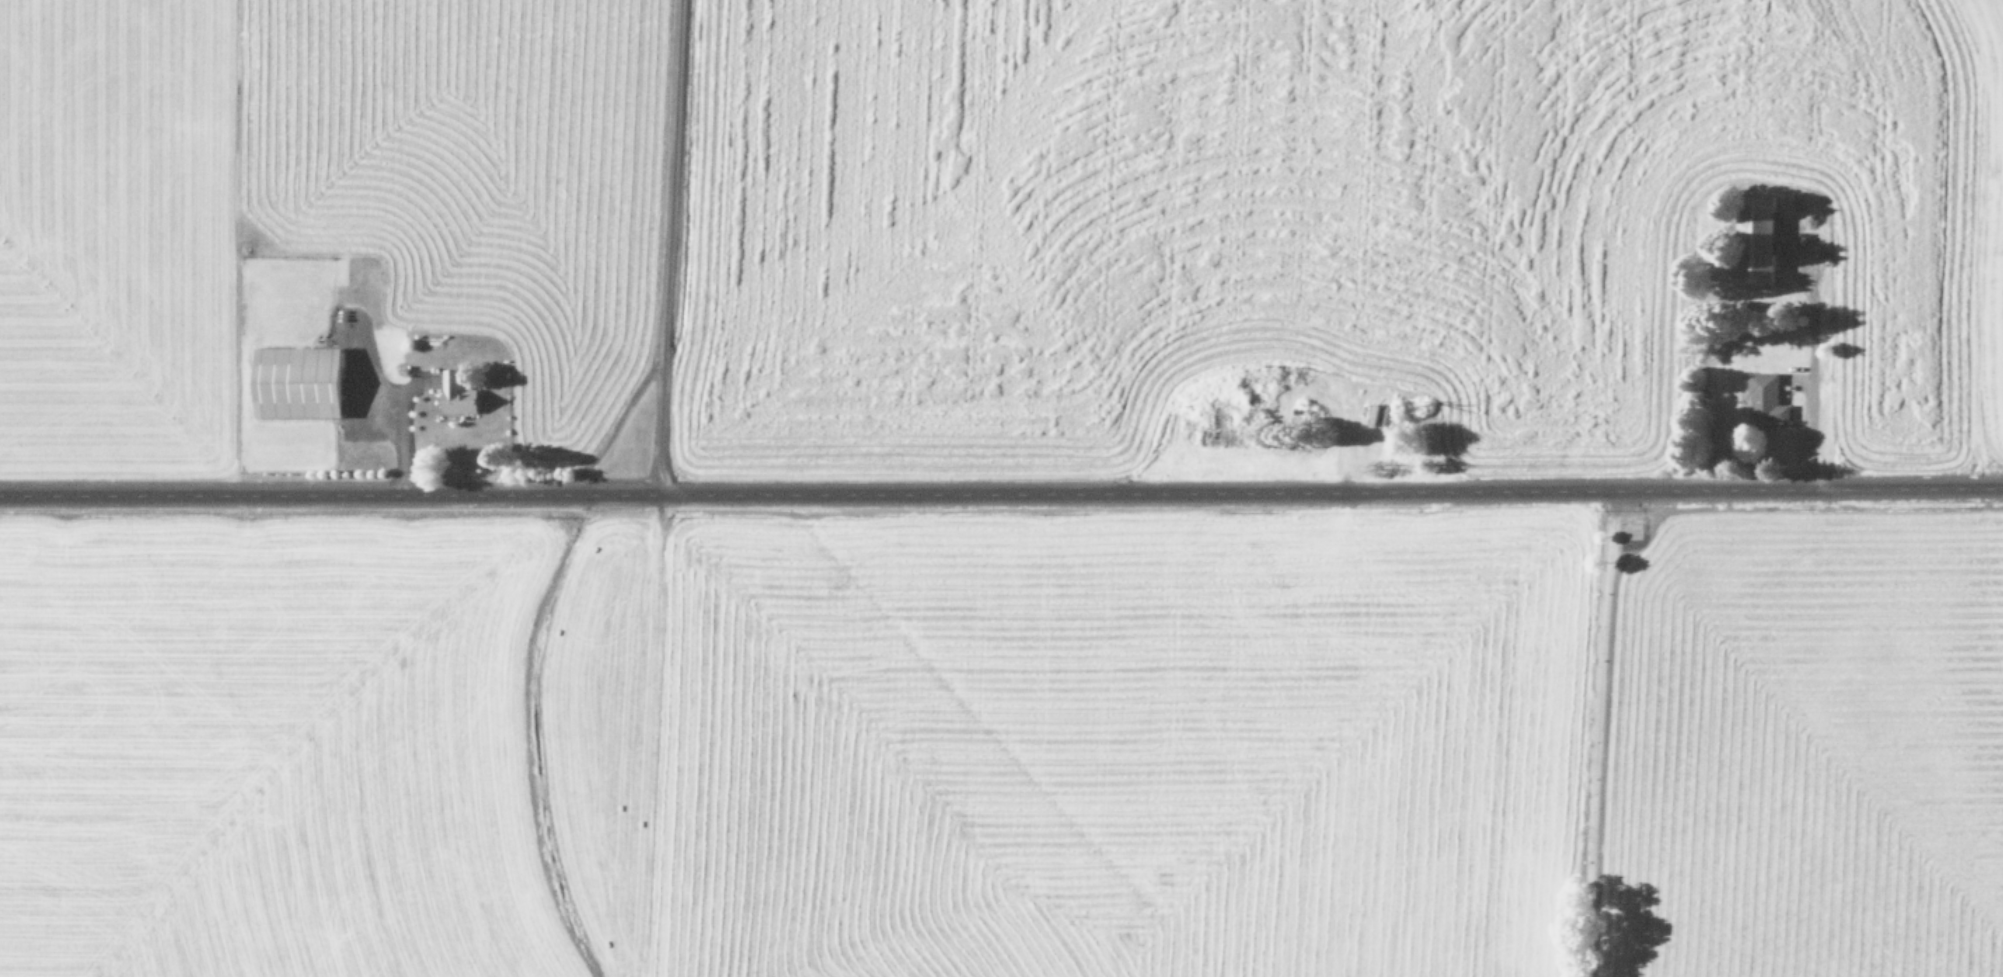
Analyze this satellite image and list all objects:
road: (1345, 247)
building: (460, 394)
road: (401, 437)
crop: (1001, 488)
road: (1001, 493)

